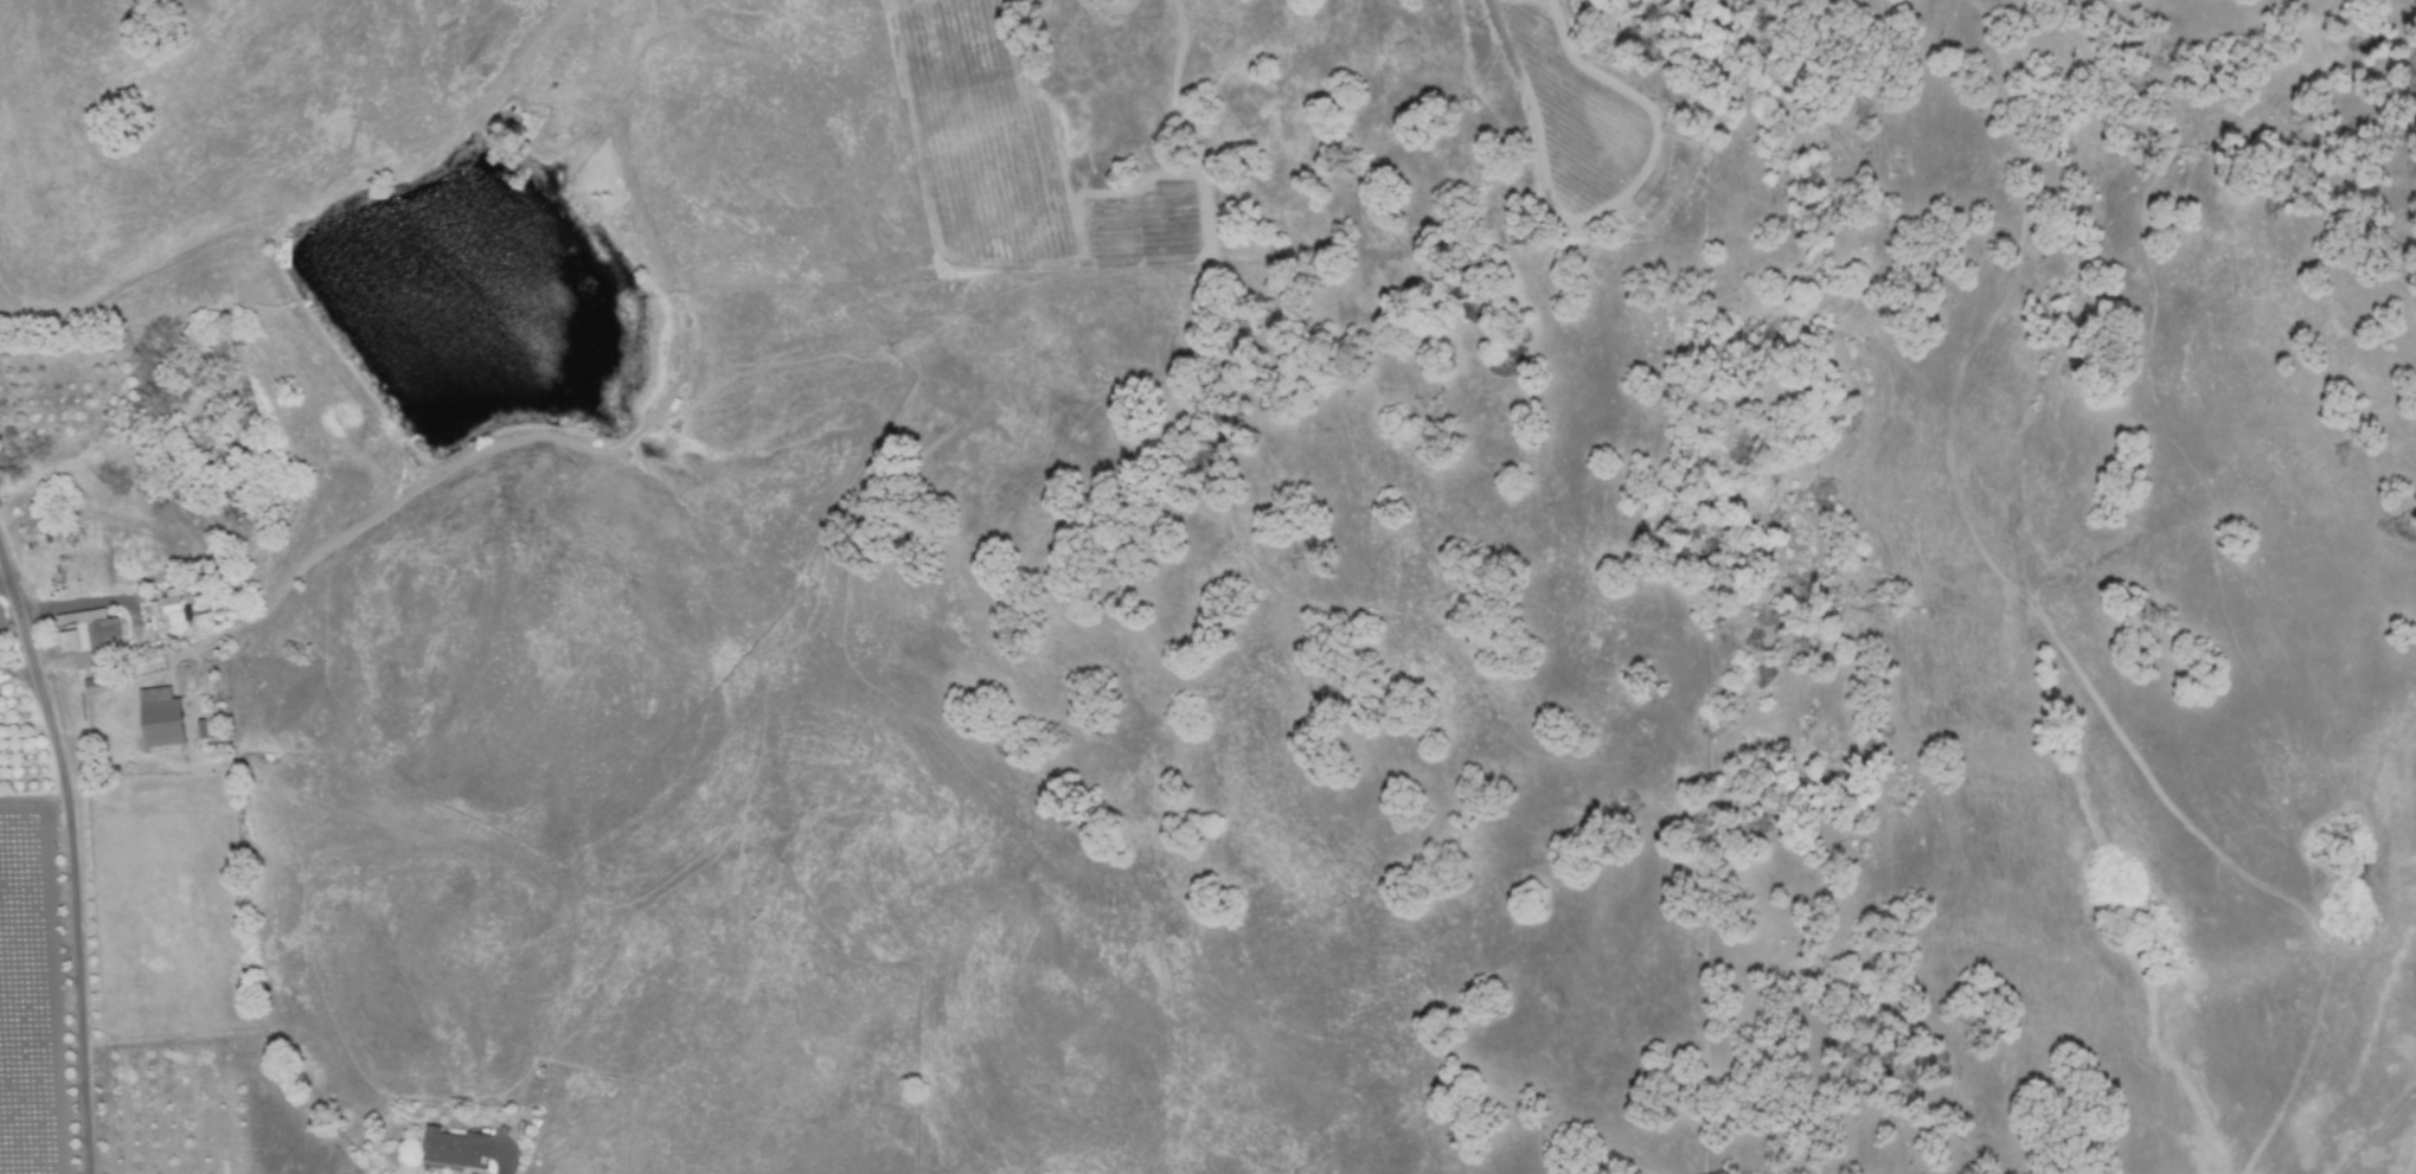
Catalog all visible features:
road: (4, 569)
building: (165, 602)
road: (134, 616)
building: (82, 628)
road: (19, 672)
building: (166, 720)
road: (73, 852)
building: (456, 1147)

